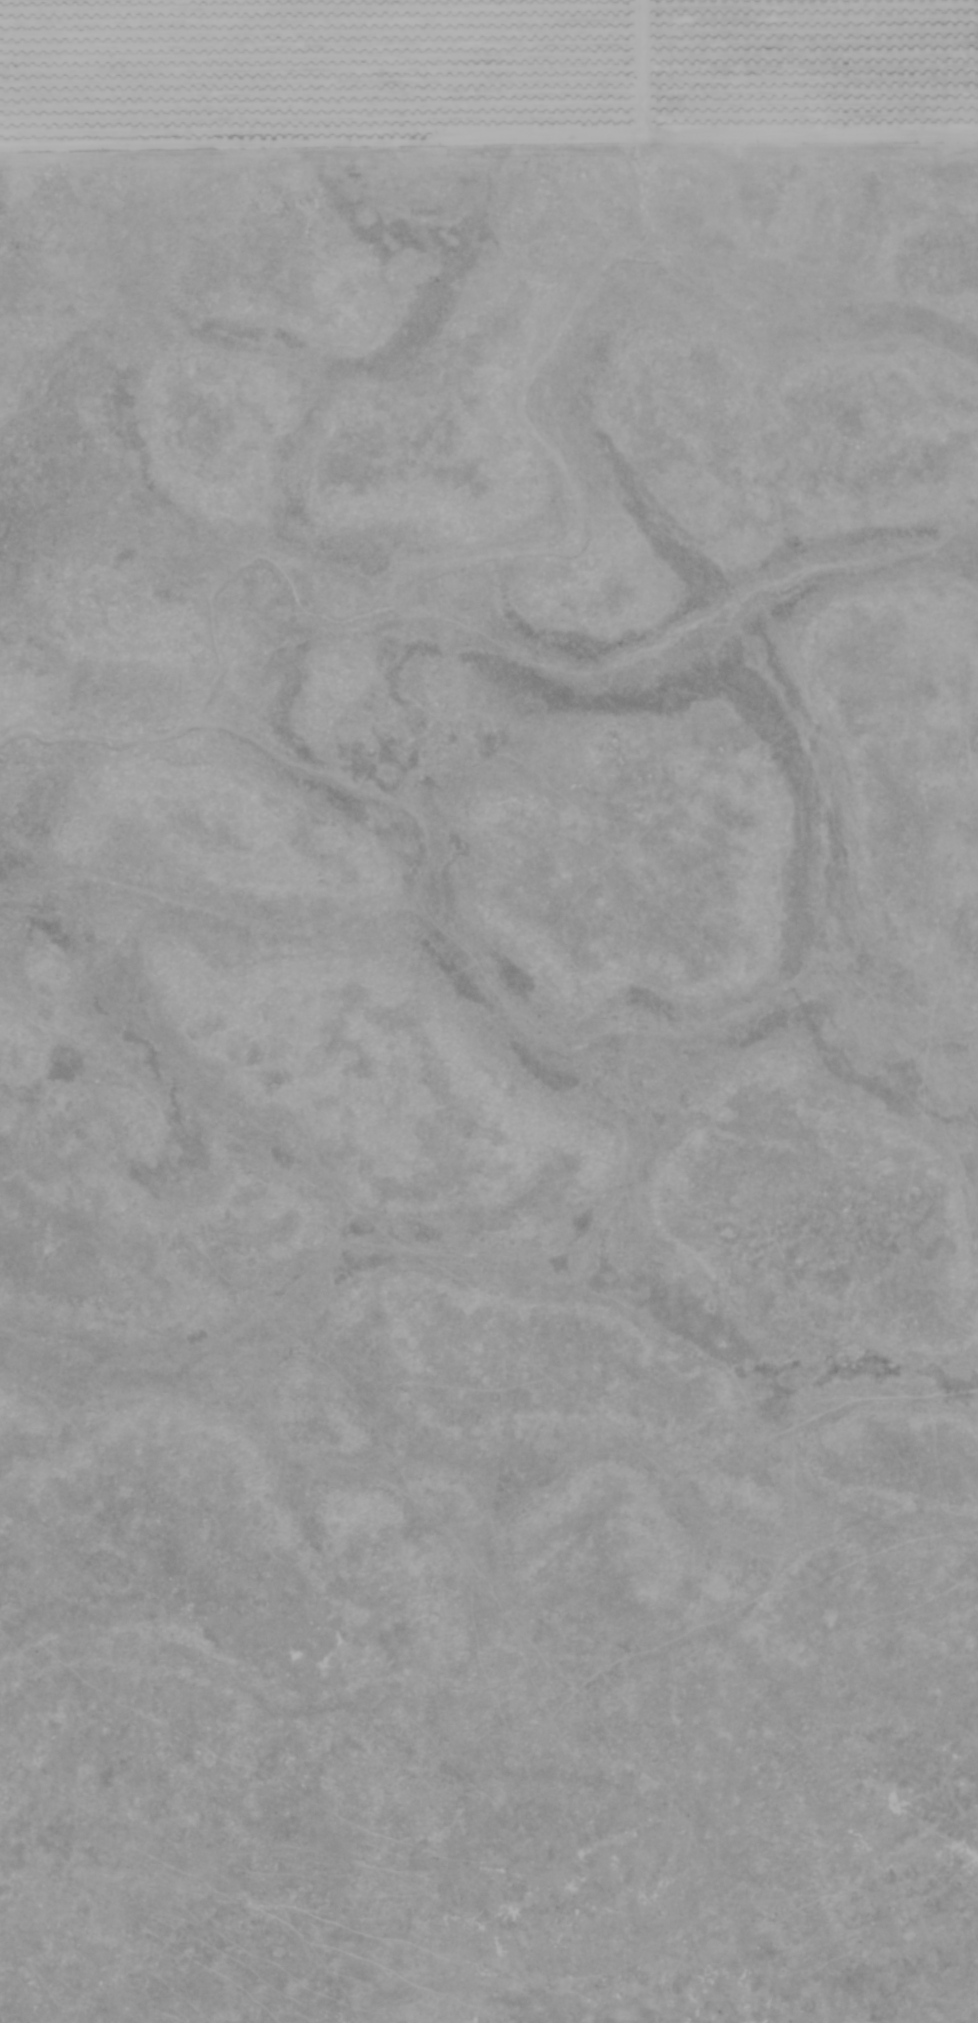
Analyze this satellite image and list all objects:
road: (640, 74)
road: (333, 149)

